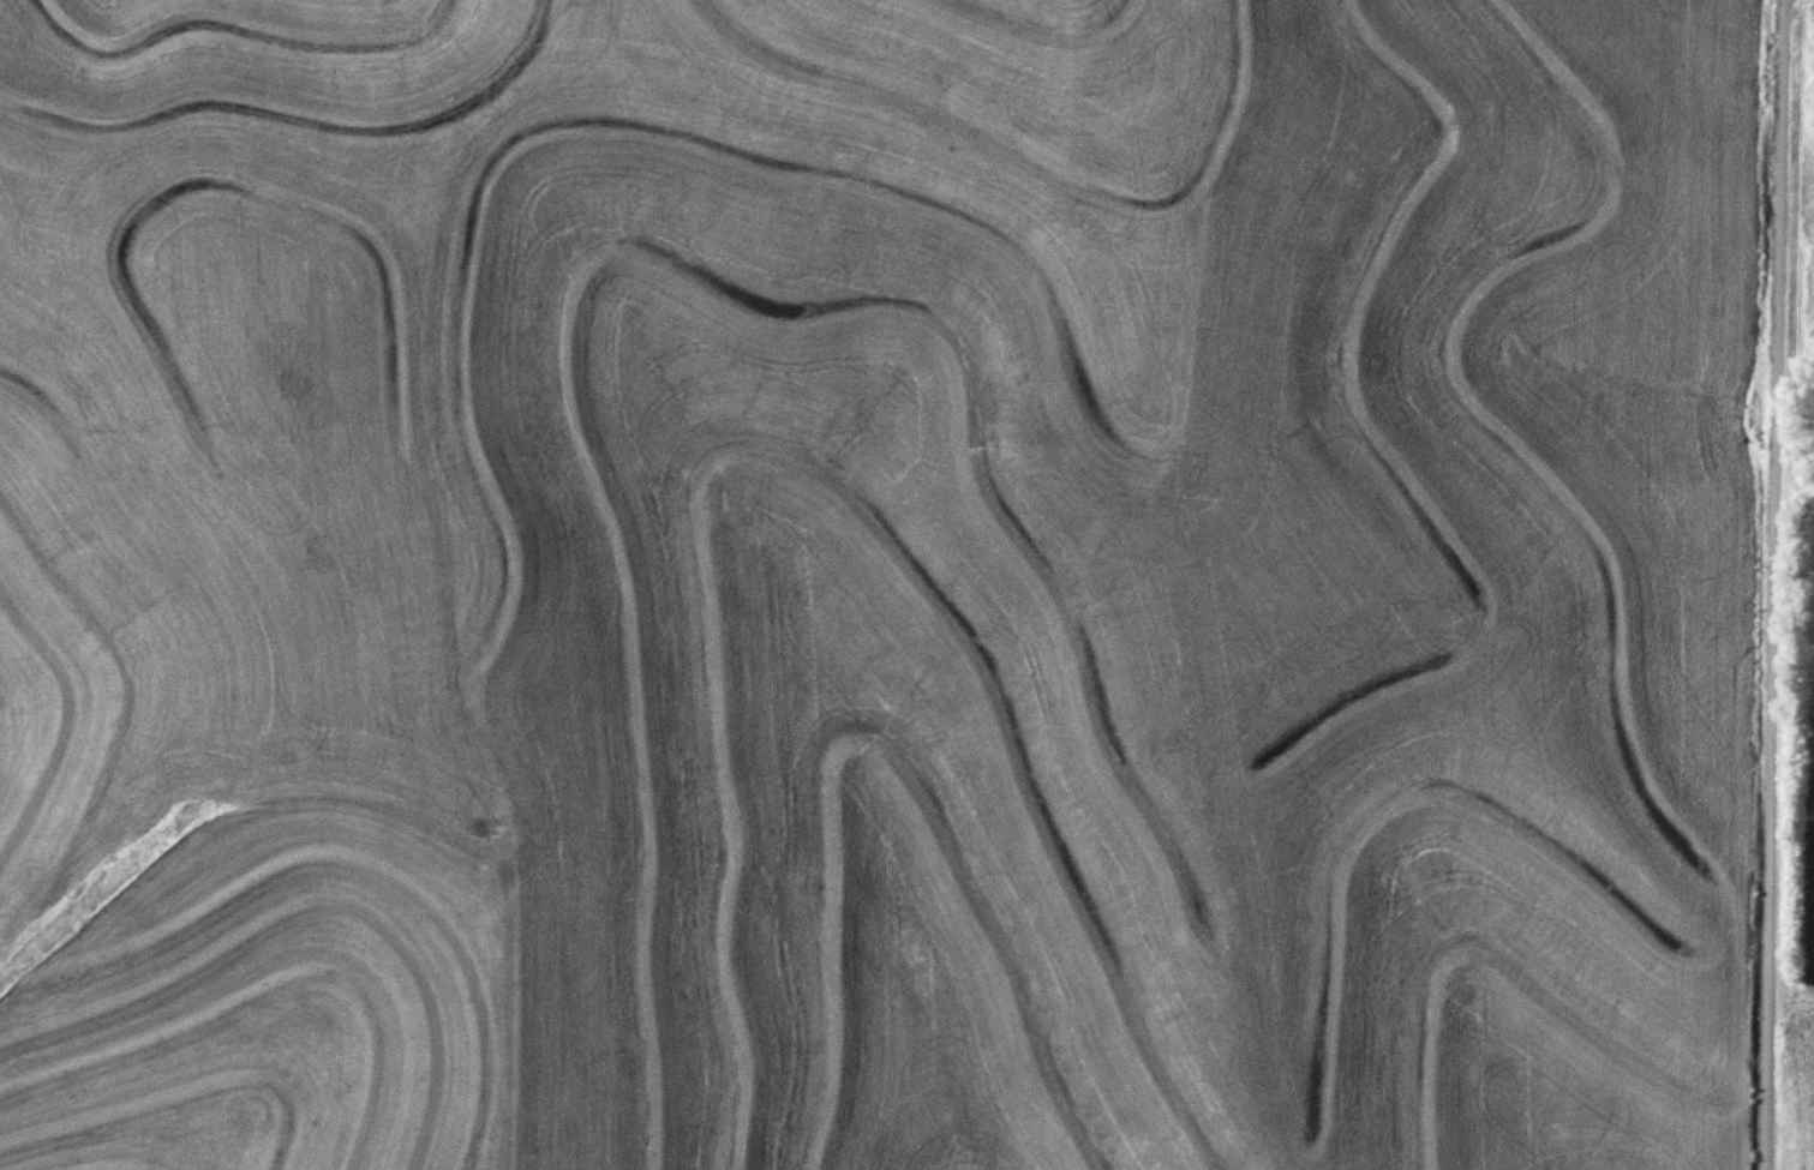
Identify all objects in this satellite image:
road: (1768, 584)

